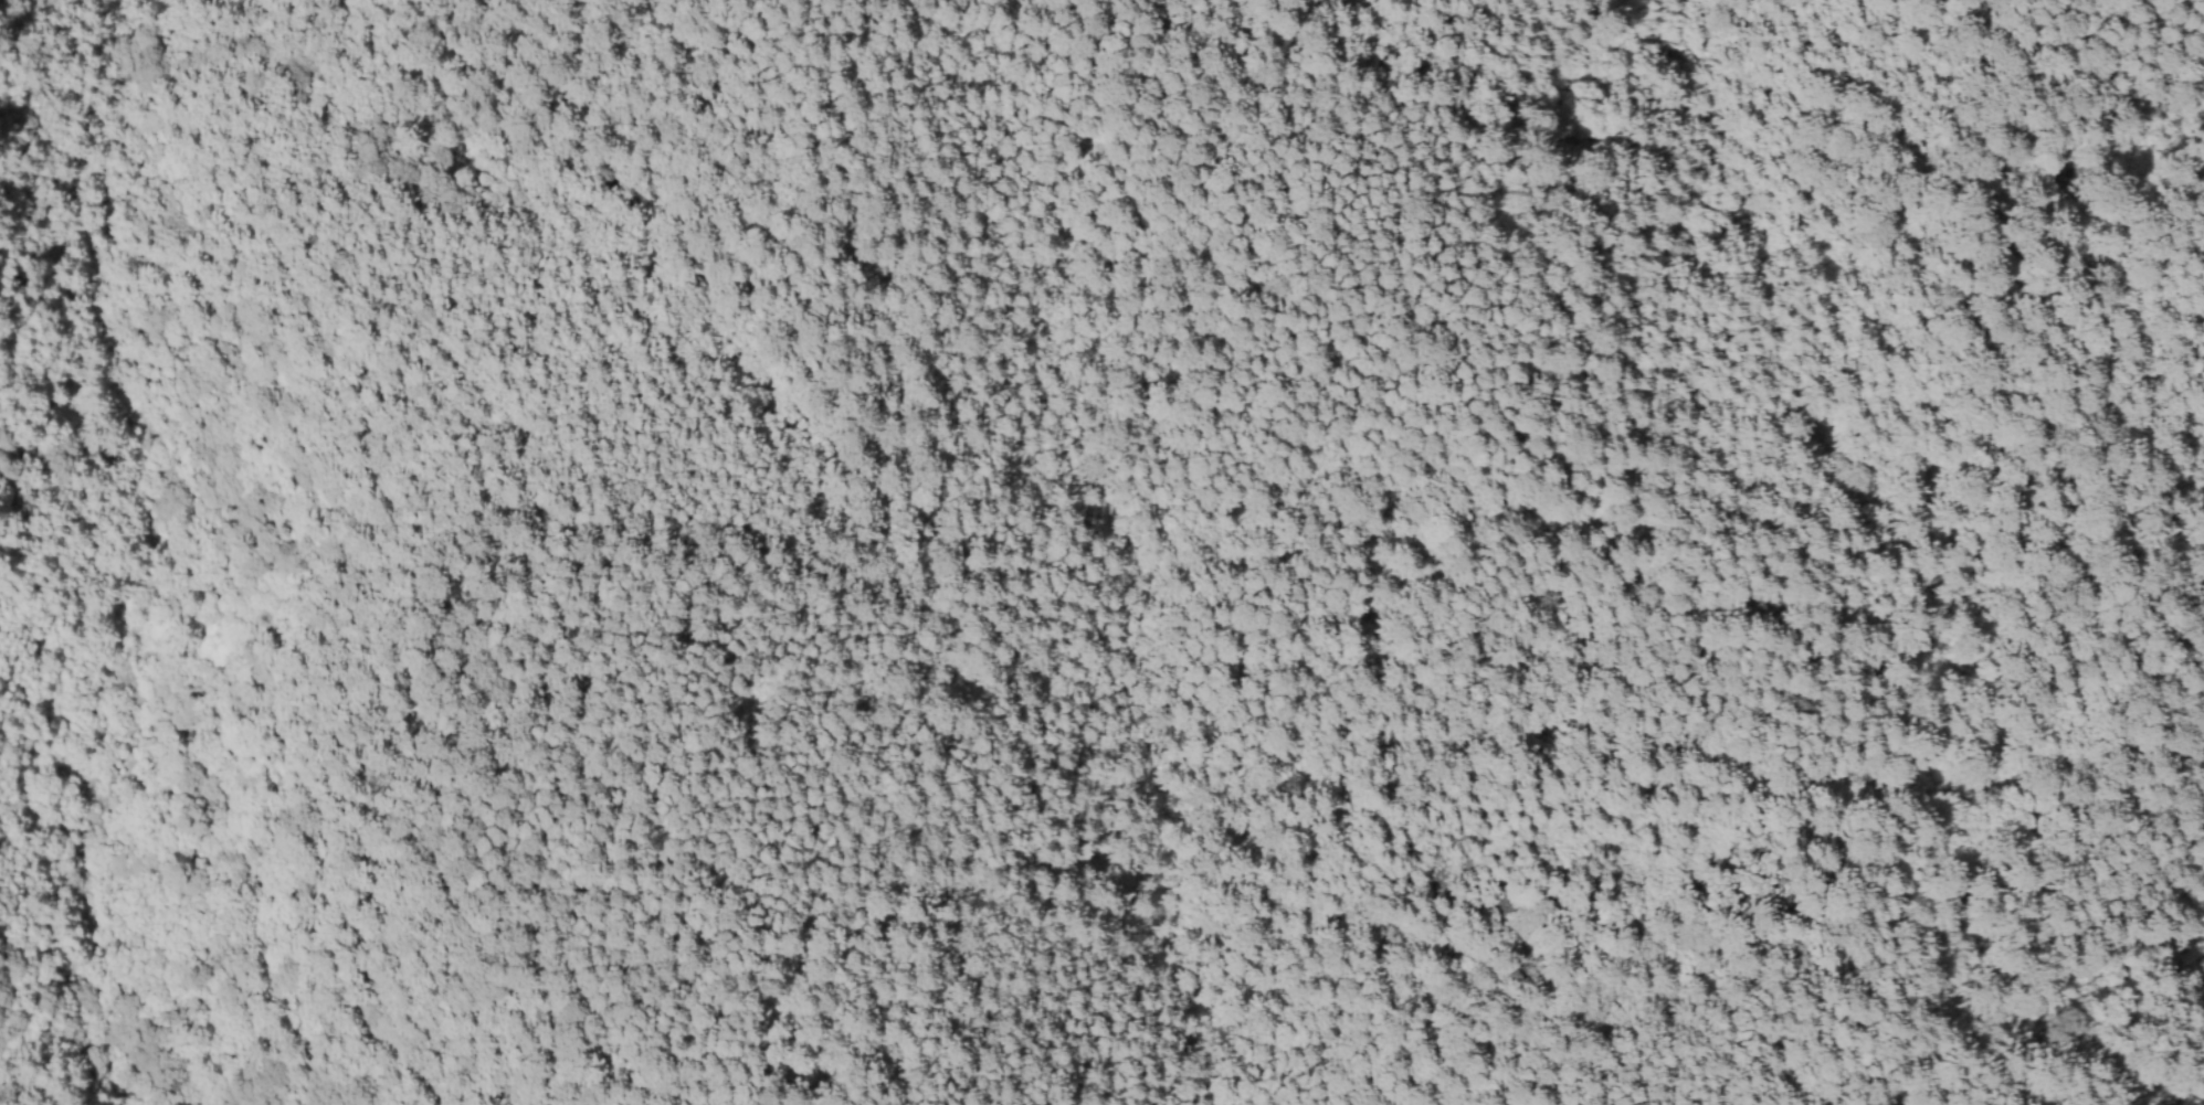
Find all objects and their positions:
road: (2032, 507)

